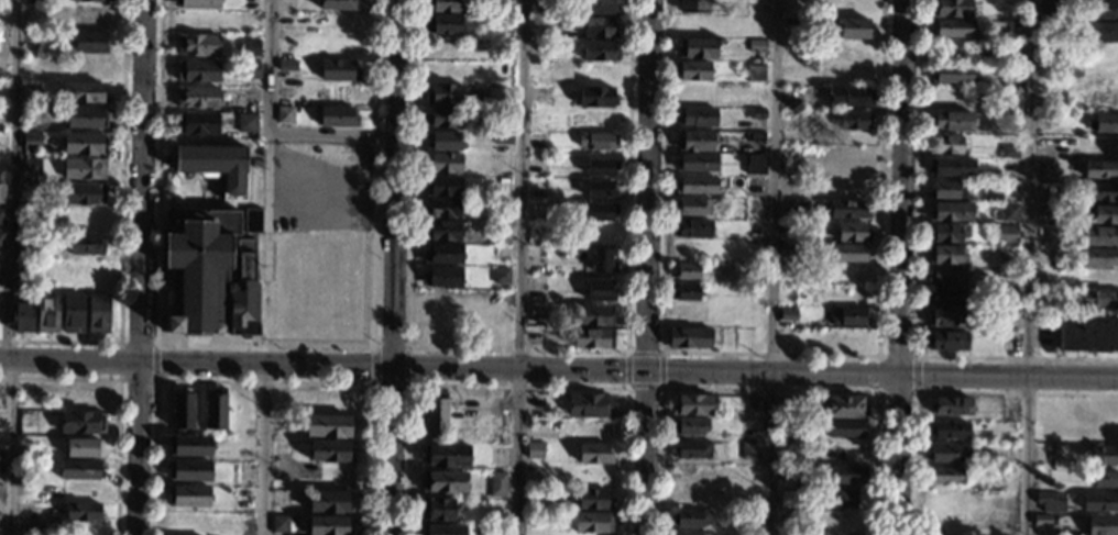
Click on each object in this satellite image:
building: (90, 1)
building: (197, 3)
building: (287, 4)
building: (336, 4)
building: (445, 5)
building: (502, 5)
building: (599, 7)
building: (693, 7)
building: (1046, 7)
building: (950, 8)
building: (1103, 10)
building: (91, 16)
building: (443, 24)
building: (599, 27)
building: (954, 27)
building: (854, 29)
building: (1103, 32)
building: (29, 36)
building: (89, 42)
building: (197, 45)
building: (756, 46)
building: (250, 48)
building: (697, 48)
building: (599, 51)
building: (287, 63)
building: (251, 70)
building: (338, 70)
building: (197, 71)
building: (692, 71)
building: (755, 73)
building: (1009, 74)
building: (951, 75)
building: (84, 92)
building: (443, 94)
building: (850, 96)
building: (196, 97)
building: (596, 97)
building: (756, 114)
building: (284, 115)
building: (337, 116)
building: (697, 116)
building: (443, 118)
building: (86, 119)
building: (952, 119)
building: (853, 121)
building: (196, 123)
building: (246, 123)
building: (1106, 123)
road: (271, 129)
building: (755, 136)
building: (442, 140)
building: (31, 141)
building: (598, 141)
building: (695, 141)
building: (84, 144)
building: (945, 144)
building: (1006, 152)
building: (255, 163)
building: (697, 163)
building: (443, 164)
building: (753, 164)
building: (600, 165)
building: (31, 167)
building: (215, 167)
building: (951, 167)
building: (1044, 168)
building: (84, 169)
building: (1100, 169)
building: (695, 186)
road: (899, 186)
building: (443, 187)
building: (599, 188)
building: (946, 189)
building: (1100, 191)
building: (993, 192)
building: (2, 193)
building: (83, 194)
building: (692, 207)
building: (441, 209)
building: (600, 209)
building: (845, 210)
building: (950, 212)
building: (1006, 212)
building: (1103, 215)
building: (1, 216)
building: (252, 221)
road: (268, 225)
building: (692, 229)
road: (121, 231)
building: (445, 231)
building: (848, 232)
building: (947, 233)
building: (1006, 234)
building: (1099, 236)
building: (1, 242)
building: (86, 244)
building: (790, 249)
building: (845, 253)
building: (441, 255)
building: (945, 255)
building: (1009, 255)
building: (1098, 257)
building: (601, 258)
road: (12, 267)
road: (139, 267)
road: (395, 267)
road: (523, 267)
road: (647, 267)
road: (772, 267)
road: (1027, 267)
building: (197, 268)
building: (689, 271)
building: (501, 276)
building: (946, 276)
building: (441, 277)
road: (918, 277)
building: (599, 288)
building: (687, 292)
building: (243, 293)
building: (945, 297)
building: (1097, 299)
building: (538, 312)
building: (47, 313)
building: (73, 313)
building: (99, 314)
building: (593, 315)
building: (787, 315)
building: (22, 316)
building: (847, 316)
building: (946, 317)
building: (1087, 333)
building: (592, 338)
building: (689, 338)
building: (946, 341)
road: (266, 344)
road: (390, 346)
road: (517, 347)
road: (660, 352)
road: (770, 352)
road: (120, 359)
road: (156, 360)
road: (373, 365)
road: (407, 365)
road: (559, 369)
traffic signals: (646, 369)
road: (878, 370)
road: (917, 371)
road: (261, 380)
road: (390, 383)
road: (515, 384)
road: (768, 387)
road: (944, 390)
road: (119, 397)
building: (589, 405)
building: (692, 405)
building: (843, 406)
building: (952, 406)
building: (755, 408)
building: (182, 410)
building: (215, 410)
building: (435, 414)
building: (81, 422)
building: (779, 423)
building: (328, 426)
building: (690, 427)
building: (845, 428)
building: (949, 431)
building: (189, 446)
building: (81, 448)
road: (265, 449)
building: (691, 449)
building: (535, 450)
building: (749, 450)
building: (331, 452)
building: (946, 453)
building: (593, 454)
road: (895, 454)
building: (1100, 455)
building: (446, 456)
building: (81, 469)
building: (188, 470)
building: (845, 475)
building: (946, 475)
building: (1005, 475)
building: (1104, 479)
building: (443, 483)
building: (496, 484)
building: (818, 493)
building: (187, 497)
building: (846, 499)
building: (592, 500)
building: (1050, 501)
building: (329, 502)
building: (1099, 502)
building: (792, 503)
building: (438, 510)
building: (84, 512)
building: (29, 516)
building: (749, 517)
building: (690, 519)
building: (1040, 520)
building: (591, 522)
building: (282, 523)
building: (328, 525)
building: (1101, 525)
building: (32, 527)
building: (441, 530)
building: (691, 534)

